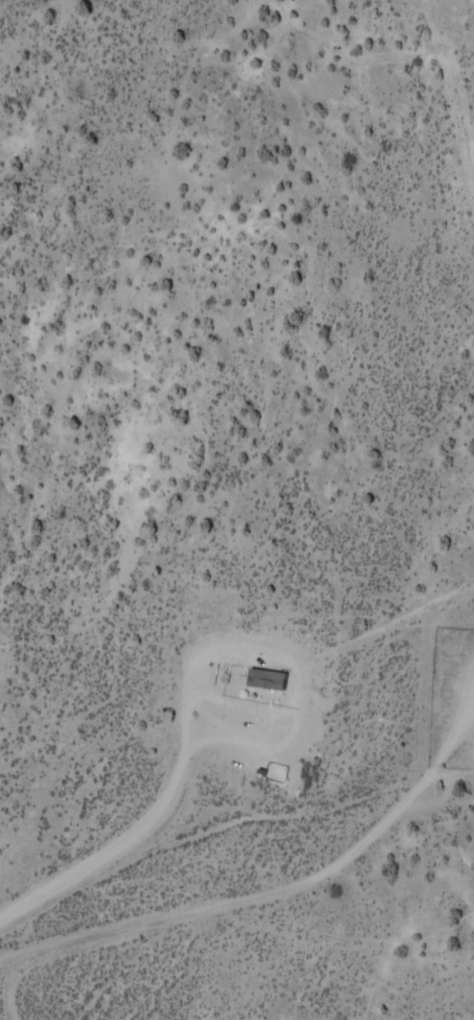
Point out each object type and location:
building: (261, 666)

